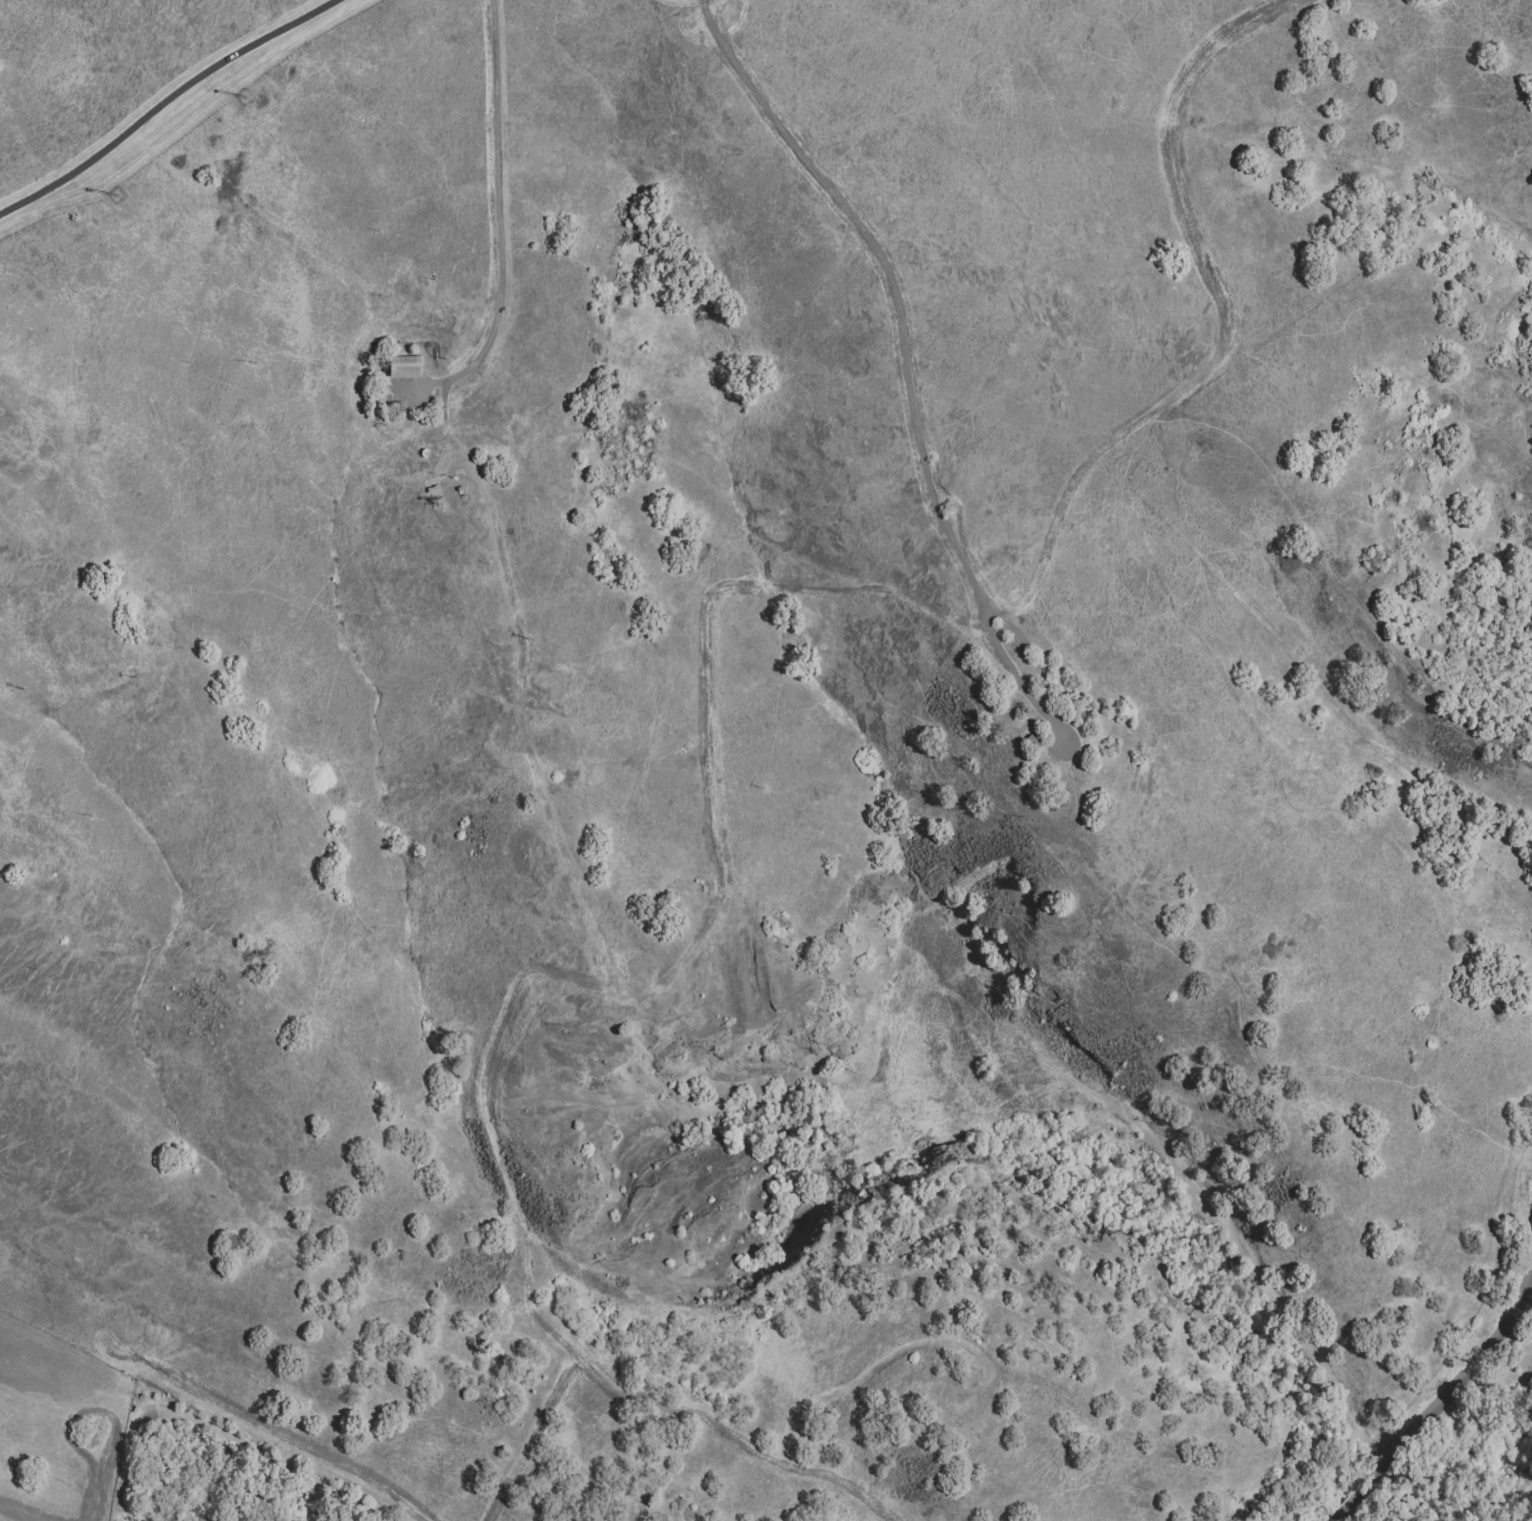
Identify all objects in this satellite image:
road: (168, 95)
road: (501, 223)
road: (905, 362)
building: (406, 368)
building: (376, 400)
building: (392, 400)
building: (435, 489)
road: (1010, 626)
building: (1035, 743)
road: (1451, 1386)
road: (184, 1463)
road: (284, 1463)
road: (1352, 1502)
road: (1340, 1516)

